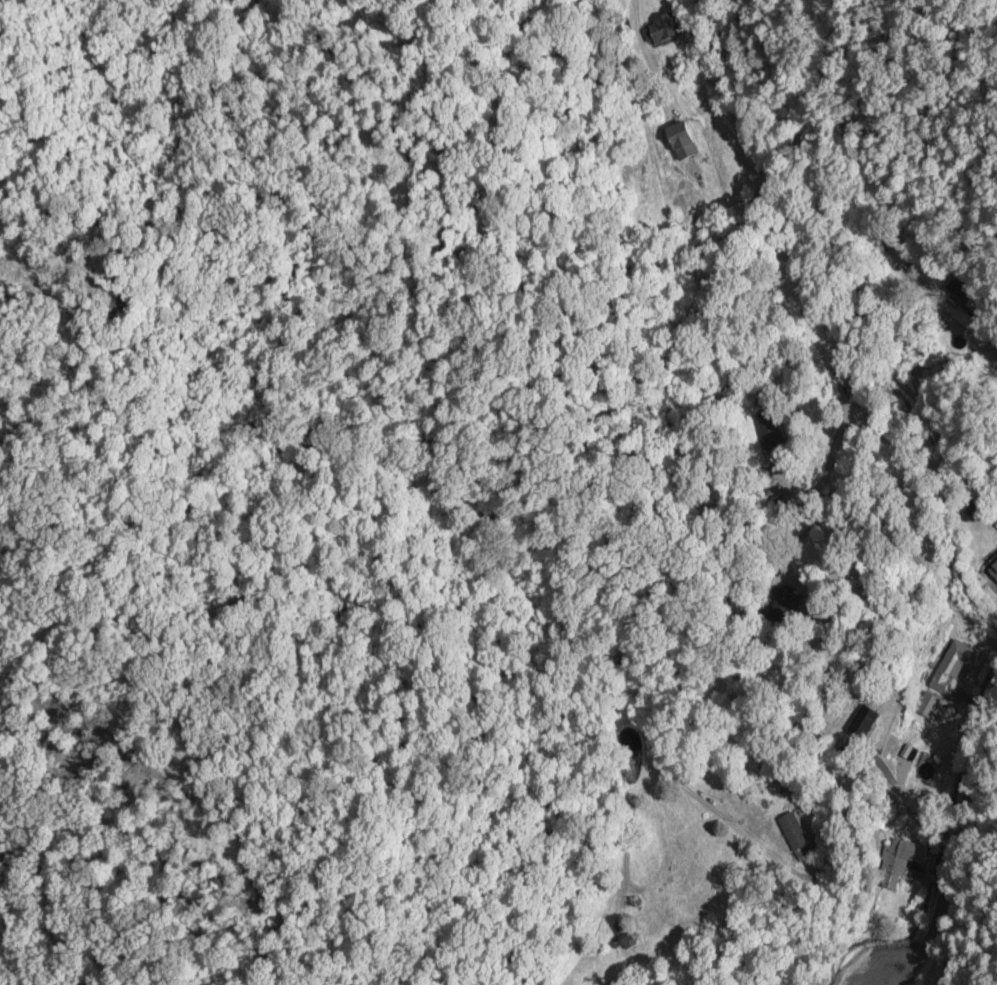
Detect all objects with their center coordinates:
building: (662, 29)
road: (853, 304)
building: (965, 507)
building: (992, 567)
building: (953, 664)
building: (926, 704)
building: (860, 722)
building: (791, 831)
road: (953, 835)
building: (898, 861)
building: (661, 907)

